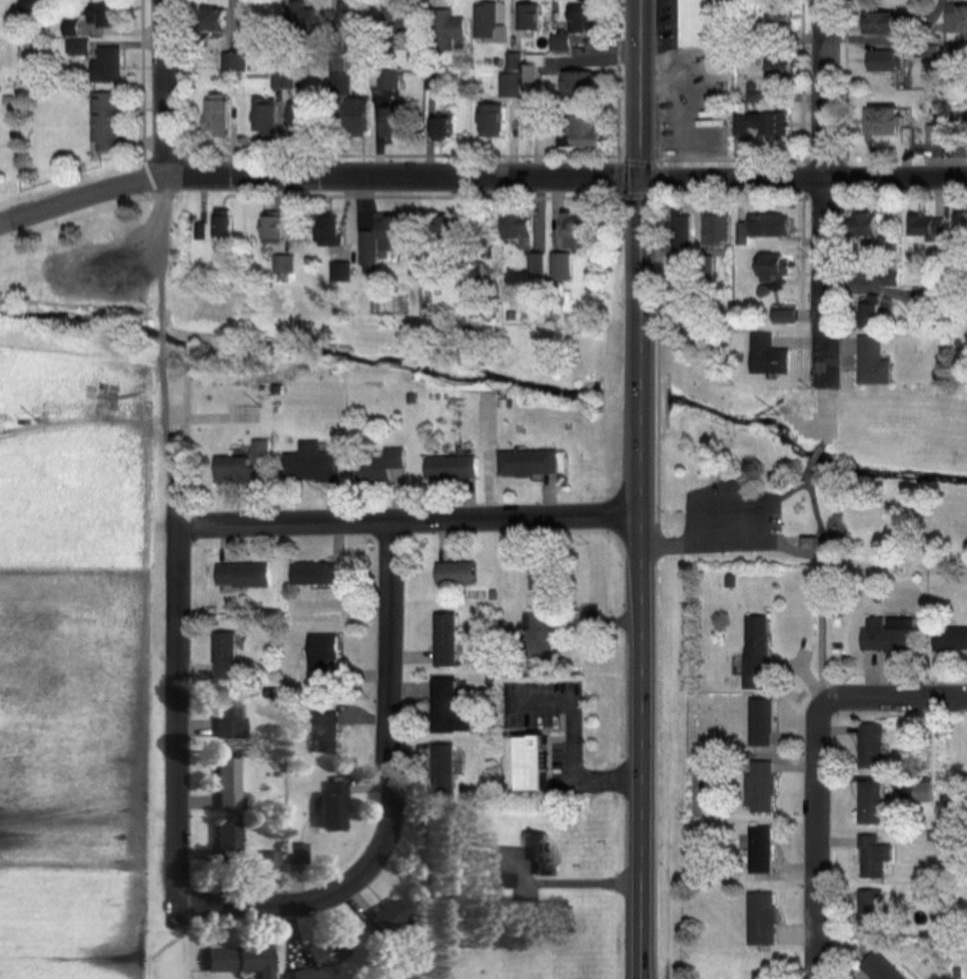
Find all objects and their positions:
building: (27, 9)
building: (345, 13)
building: (98, 15)
building: (526, 16)
building: (778, 17)
building: (209, 19)
building: (955, 20)
building: (881, 22)
building: (393, 23)
building: (486, 24)
building: (570, 26)
building: (444, 29)
building: (705, 31)
building: (75, 47)
building: (882, 60)
building: (233, 62)
building: (773, 65)
building: (103, 66)
building: (526, 74)
building: (387, 80)
building: (285, 81)
building: (338, 84)
building: (574, 85)
road: (162, 90)
building: (212, 115)
building: (351, 117)
building: (261, 118)
building: (293, 119)
building: (487, 120)
building: (388, 121)
building: (102, 122)
building: (881, 122)
building: (757, 123)
building: (439, 126)
building: (578, 131)
building: (932, 135)
road: (317, 181)
road: (803, 181)
road: (824, 193)
building: (959, 221)
building: (864, 223)
building: (213, 226)
building: (268, 226)
building: (516, 226)
building: (756, 226)
building: (925, 226)
building: (717, 229)
building: (323, 230)
building: (439, 231)
building: (570, 231)
building: (680, 232)
building: (377, 239)
road: (640, 257)
building: (536, 264)
building: (769, 266)
building: (559, 267)
building: (485, 273)
building: (869, 313)
building: (786, 315)
building: (765, 356)
building: (871, 362)
road: (823, 416)
road: (816, 455)
building: (527, 463)
building: (308, 464)
building: (377, 467)
building: (449, 468)
building: (230, 471)
road: (409, 521)
building: (454, 572)
building: (313, 573)
building: (240, 575)
road: (825, 580)
building: (884, 636)
building: (539, 637)
building: (446, 639)
building: (950, 639)
building: (755, 652)
building: (321, 655)
building: (223, 656)
crop: (83, 659)
road: (896, 698)
building: (448, 708)
road: (177, 715)
building: (226, 716)
building: (761, 723)
building: (326, 733)
road: (641, 746)
building: (871, 746)
road: (570, 749)
building: (531, 764)
building: (445, 769)
building: (225, 782)
building: (760, 787)
building: (927, 790)
road: (392, 798)
building: (871, 802)
building: (327, 806)
road: (820, 840)
building: (224, 841)
building: (761, 850)
building: (295, 854)
building: (536, 856)
building: (875, 856)
building: (267, 861)
building: (496, 880)
building: (872, 906)
building: (380, 919)
building: (761, 919)
building: (320, 956)
building: (235, 960)
building: (879, 968)

